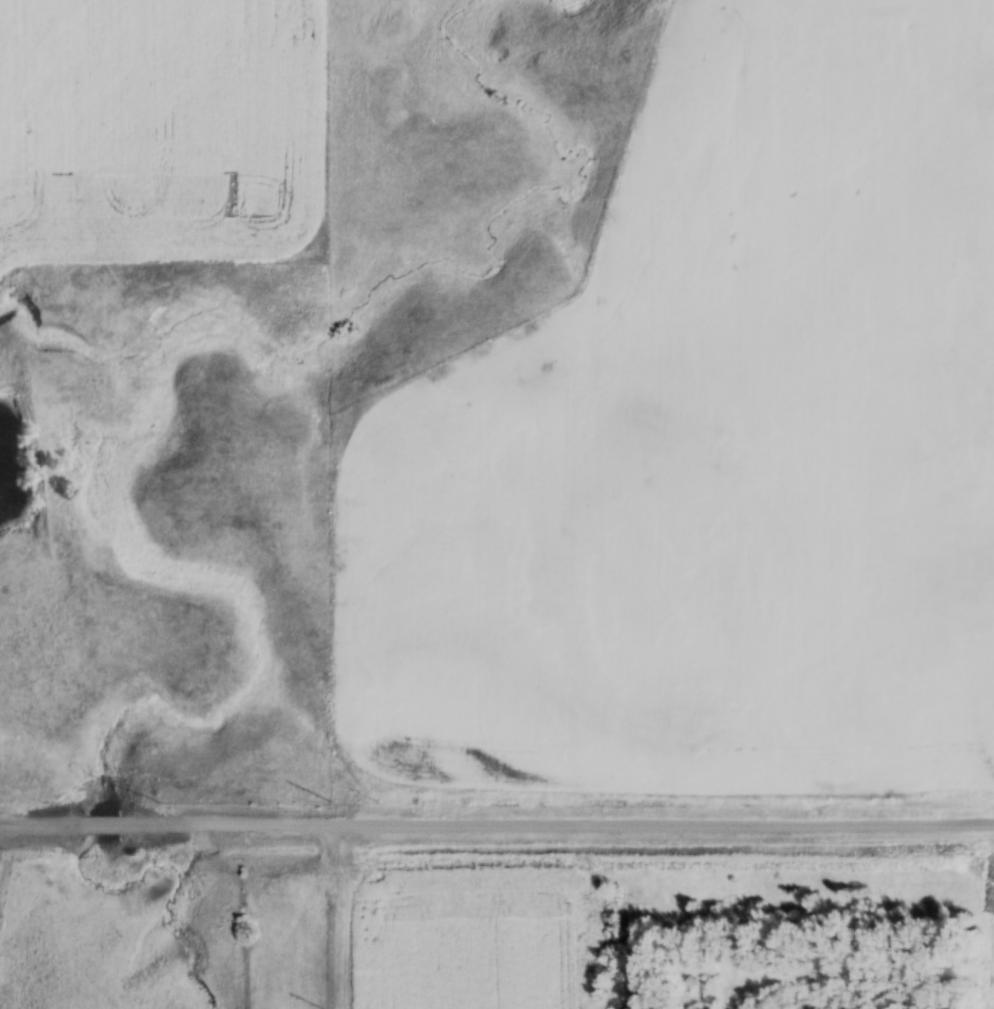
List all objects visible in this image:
river: (11, 456)
road: (496, 824)

